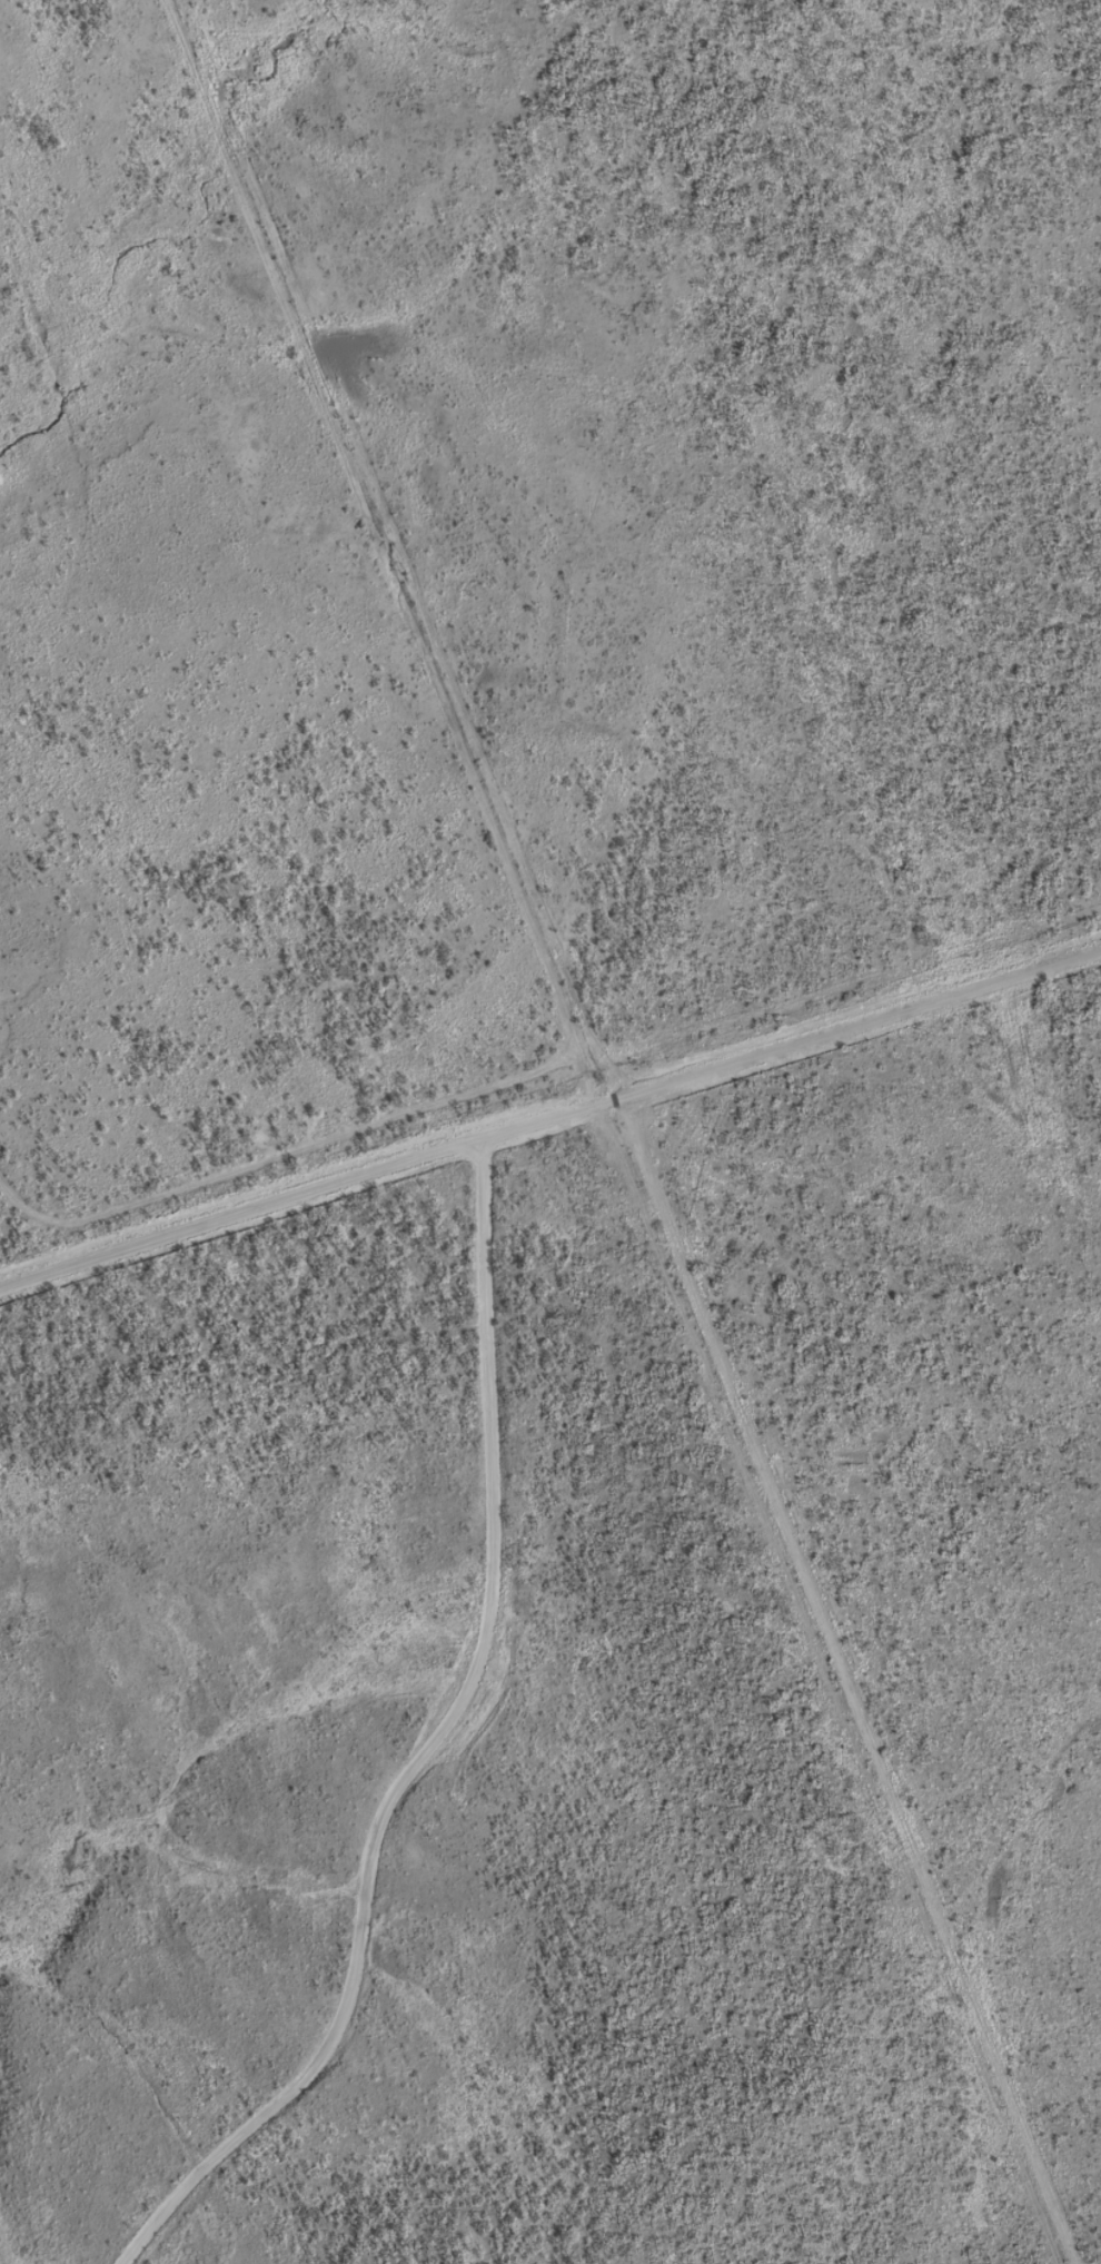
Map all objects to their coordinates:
road: (547, 1153)
road: (425, 1754)

